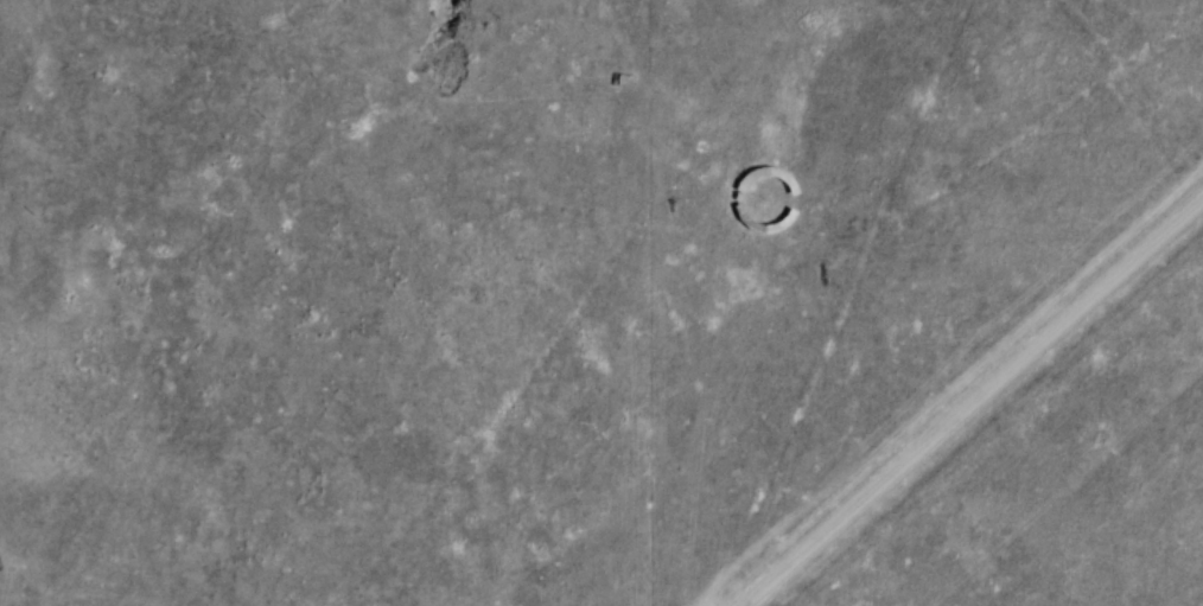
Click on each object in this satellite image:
road: (924, 357)

